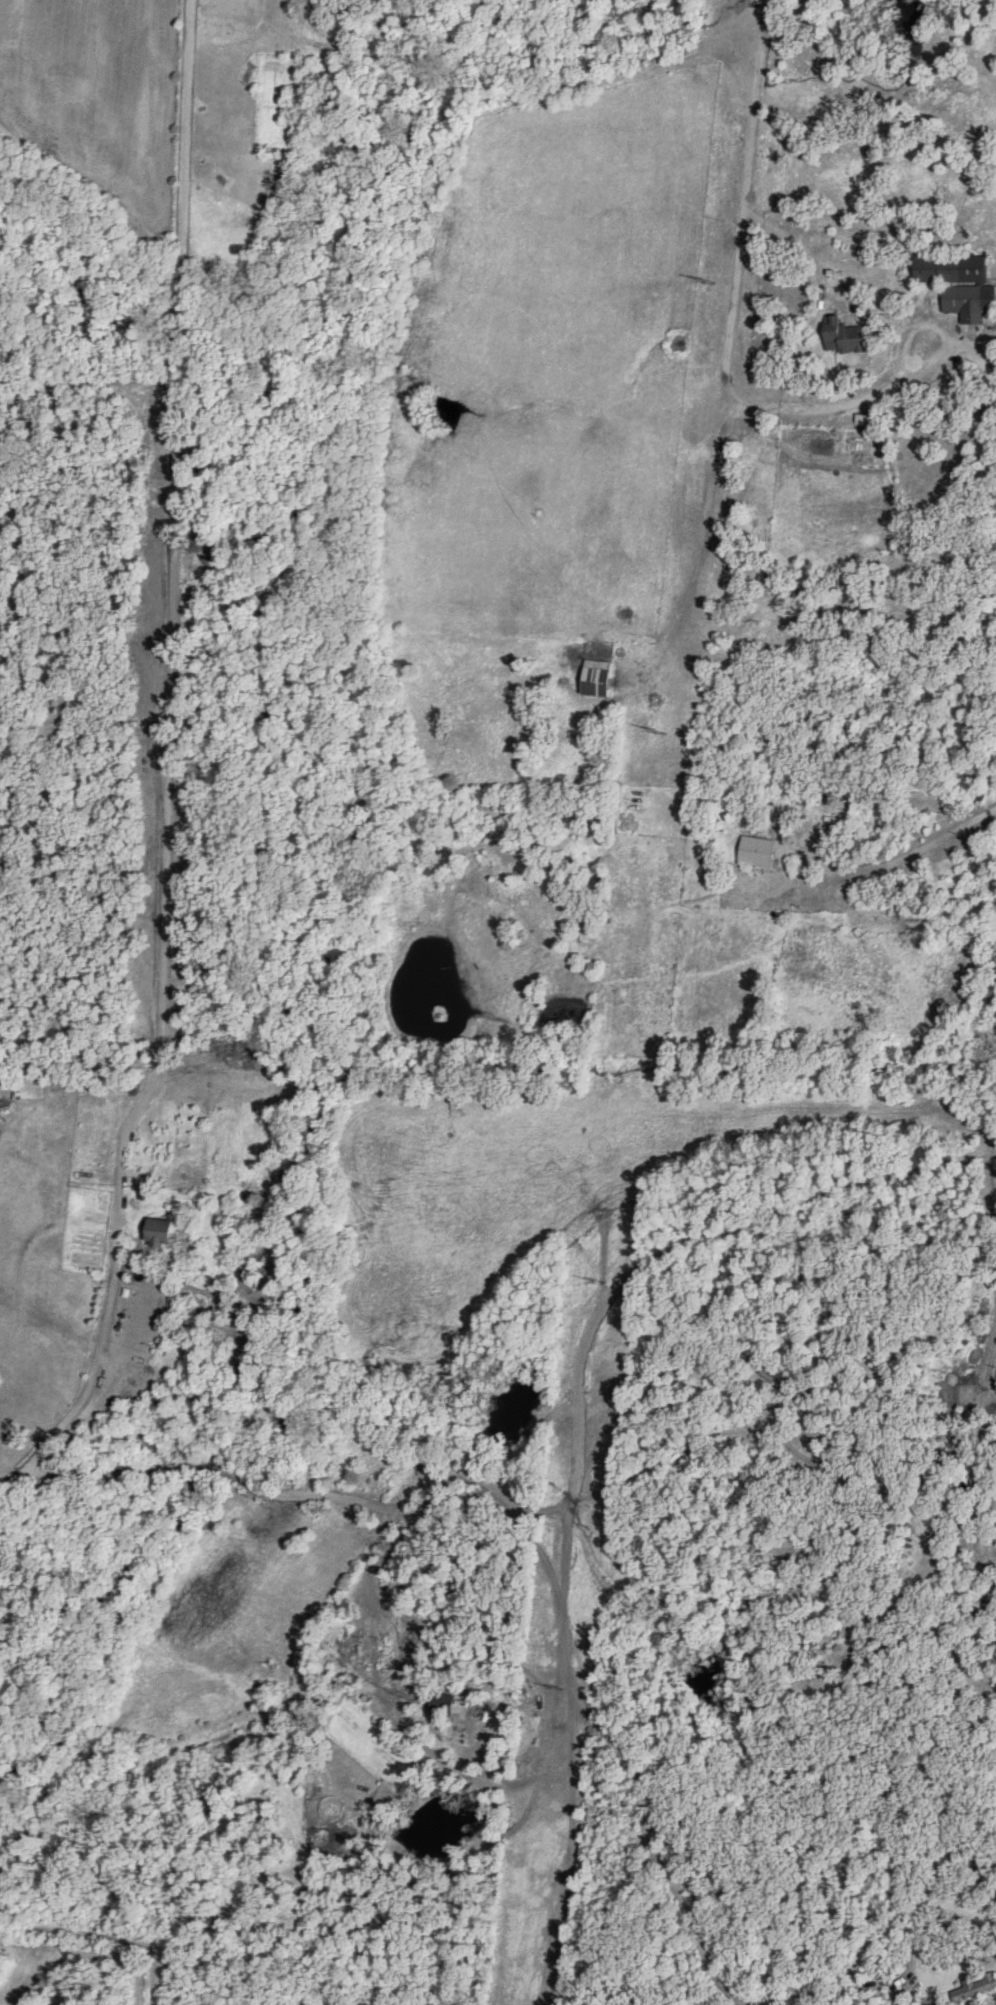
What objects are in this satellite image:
power tower: (699, 280)
building: (962, 281)
building: (846, 335)
road: (729, 360)
building: (598, 677)
power tower: (651, 729)
building: (758, 851)
road: (988, 1146)
building: (159, 1231)
road: (650, 1262)
power tower: (597, 1281)
building: (175, 1297)
building: (353, 1643)
power tower: (551, 1680)
building: (311, 1925)
road: (701, 1939)
road: (900, 1982)

